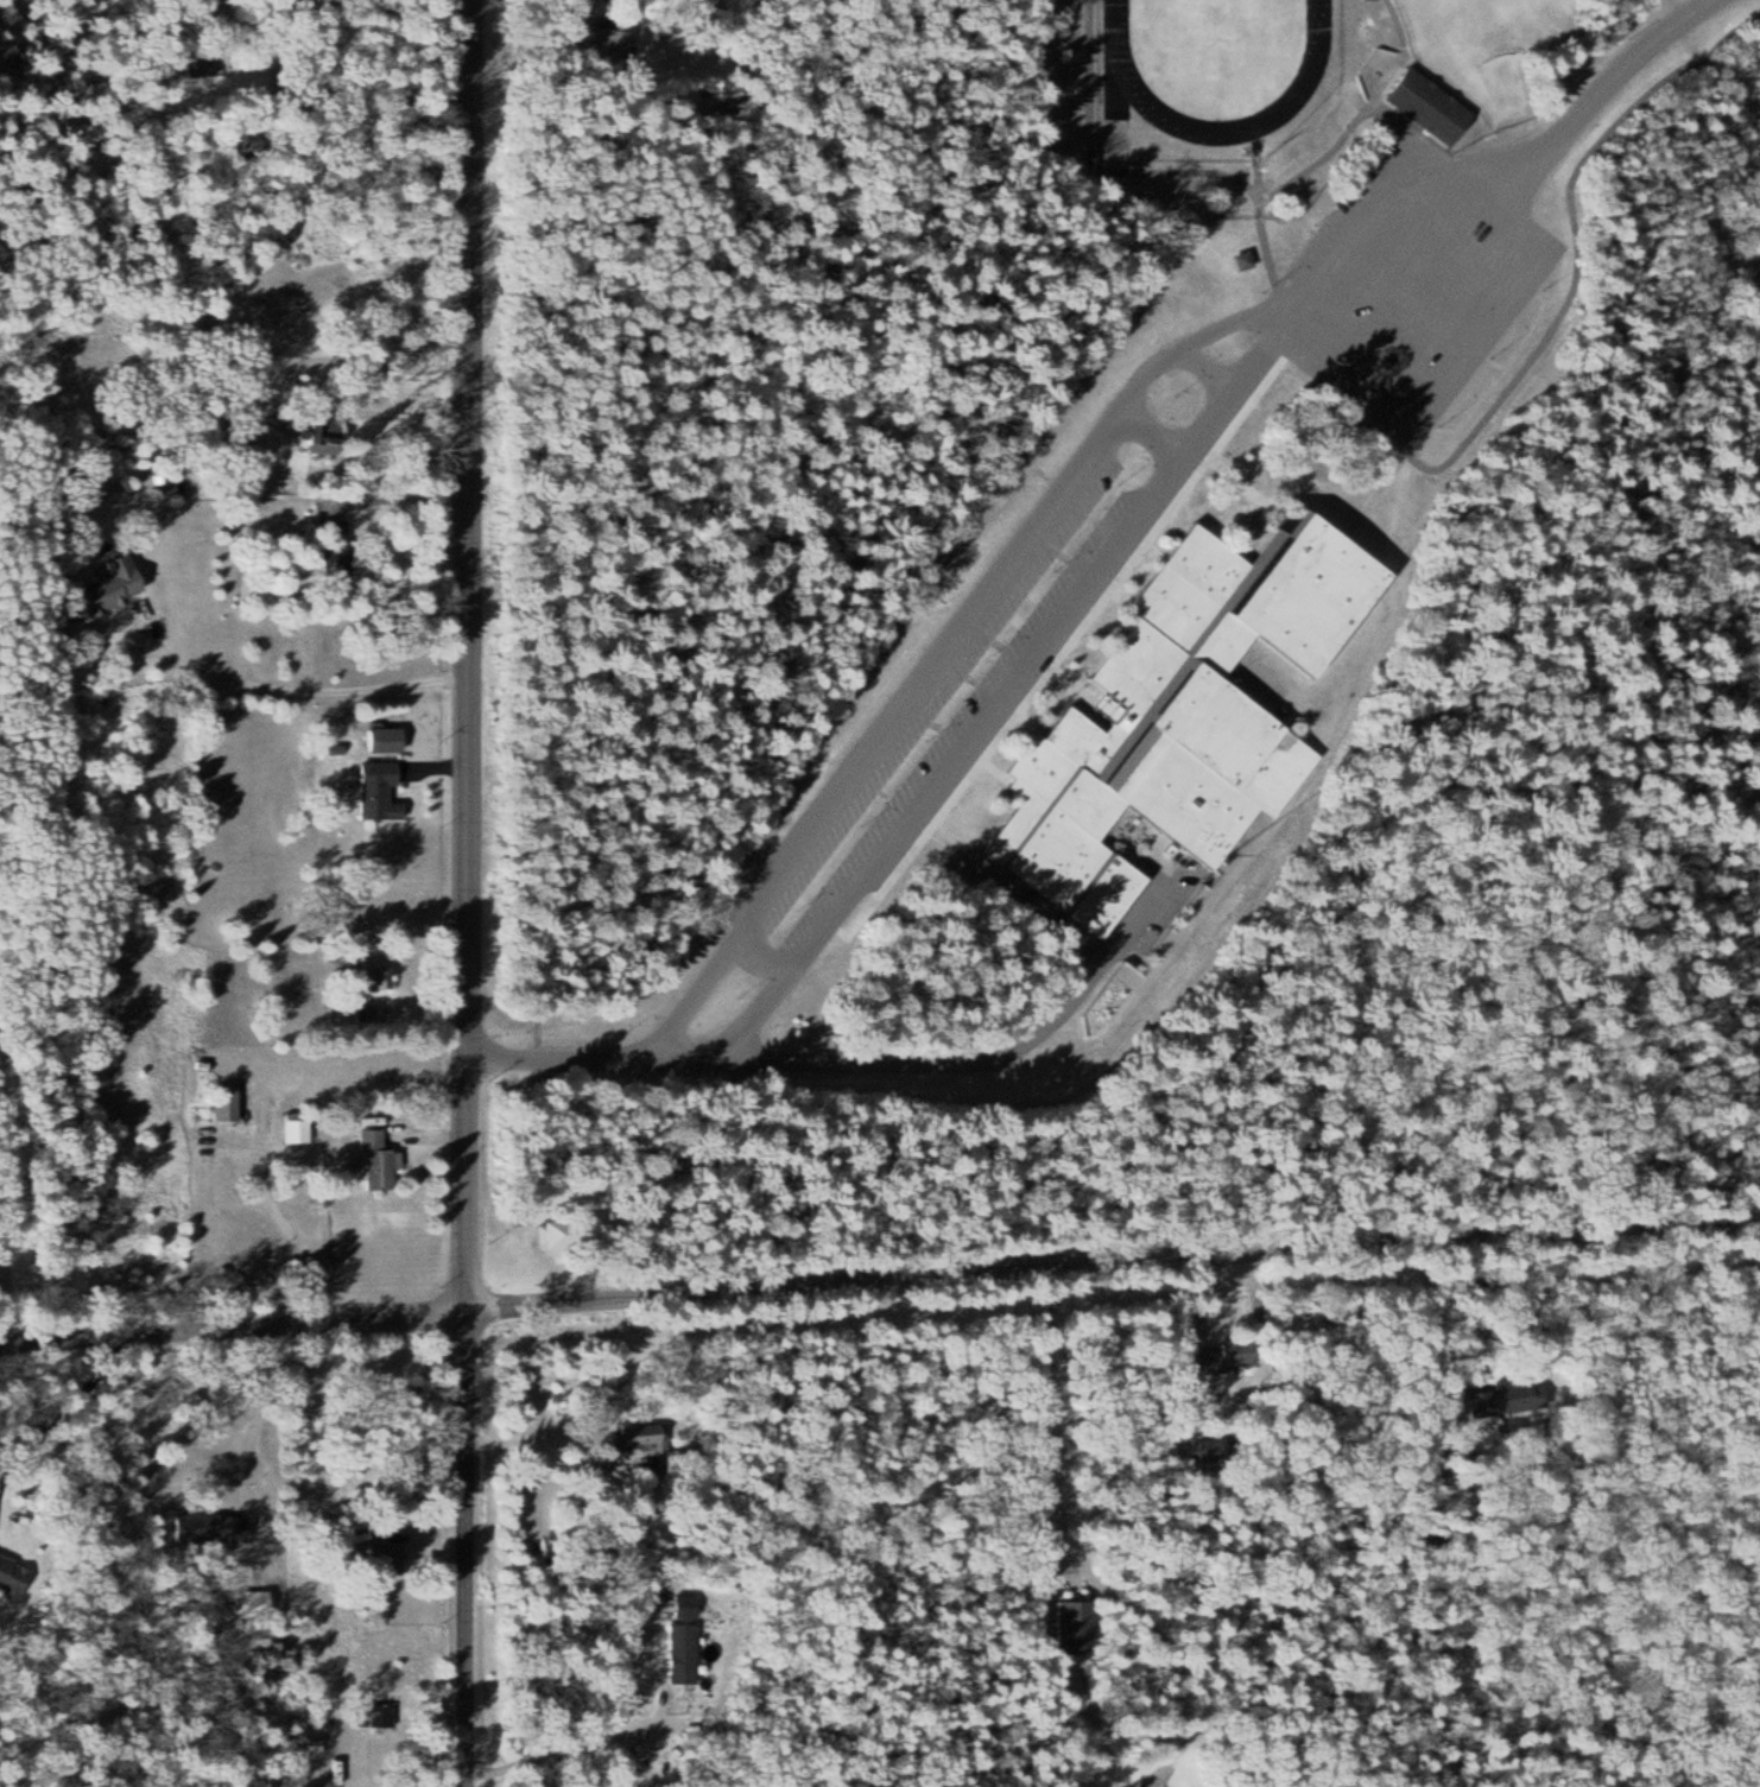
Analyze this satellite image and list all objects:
park: (1215, 21)
building: (618, 42)
building: (207, 63)
track: (1121, 70)
building: (1418, 107)
road: (1429, 164)
building: (1237, 260)
road: (1147, 375)
building: (334, 442)
building: (338, 551)
building: (119, 587)
building: (1176, 714)
road: (157, 781)
building: (382, 791)
road: (464, 893)
building: (374, 977)
building: (371, 1014)
road: (558, 1054)
building: (228, 1103)
building: (299, 1127)
building: (378, 1160)
road: (1112, 1254)
road: (232, 1324)
building: (1220, 1360)
building: (1474, 1380)
building: (1519, 1388)
building: (1487, 1402)
road: (1062, 1422)
building: (644, 1433)
building: (220, 1526)
building: (382, 1553)
building: (7, 1572)
building: (254, 1603)
building: (688, 1604)
building: (1082, 1624)
building: (685, 1653)

